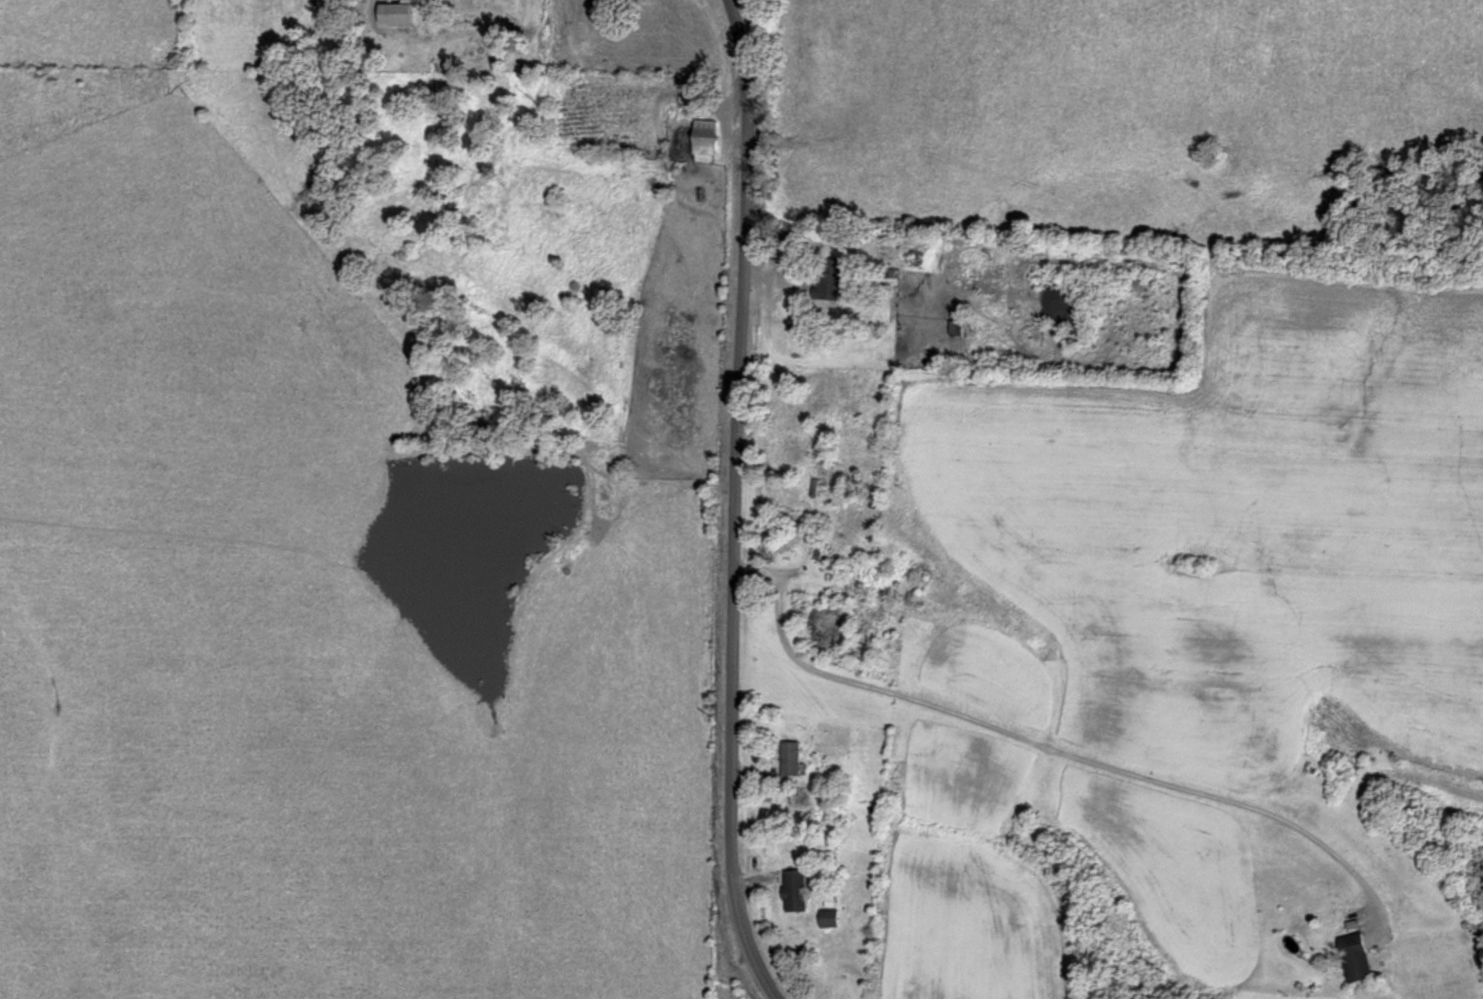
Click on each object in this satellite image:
building: (692, 80)
building: (707, 136)
building: (827, 279)
building: (803, 447)
building: (818, 481)
road: (736, 501)
road: (1051, 745)
building: (792, 757)
building: (796, 889)
building: (831, 917)
building: (1357, 956)

